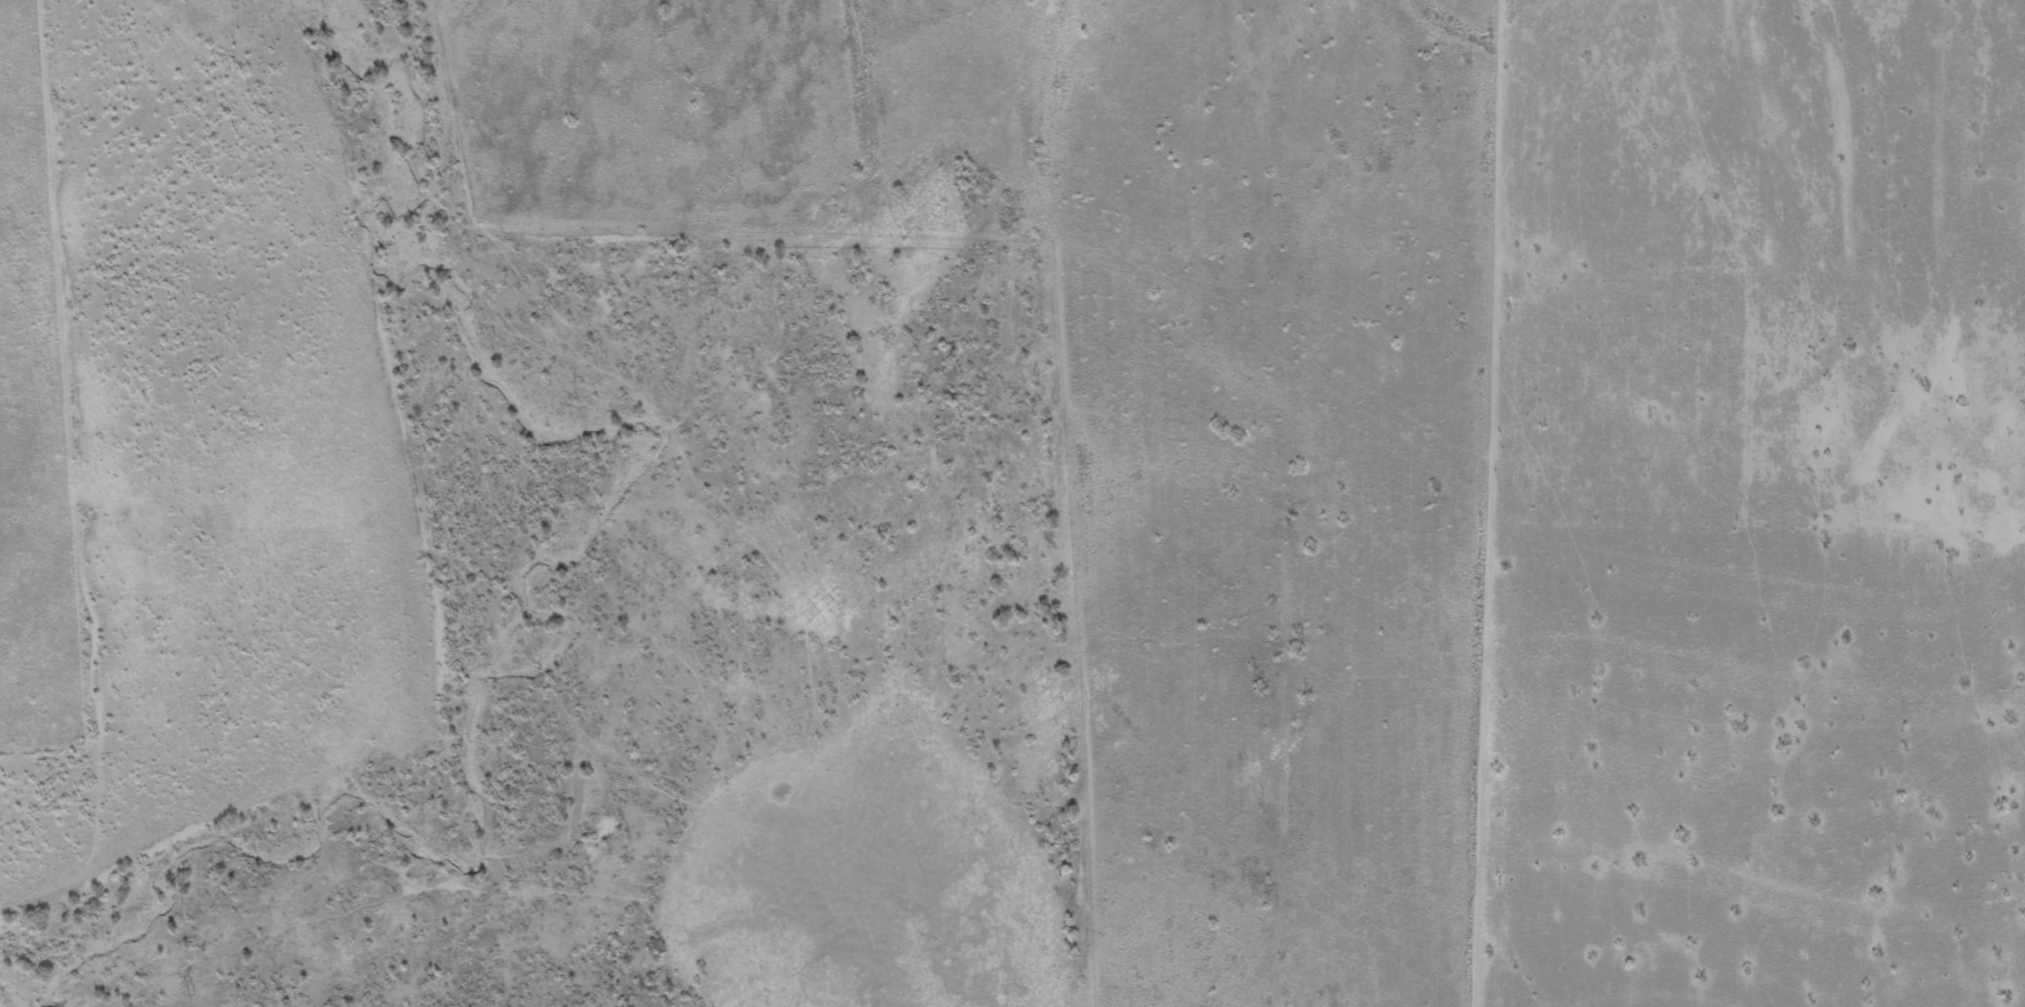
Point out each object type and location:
power tower: (190, 998)

